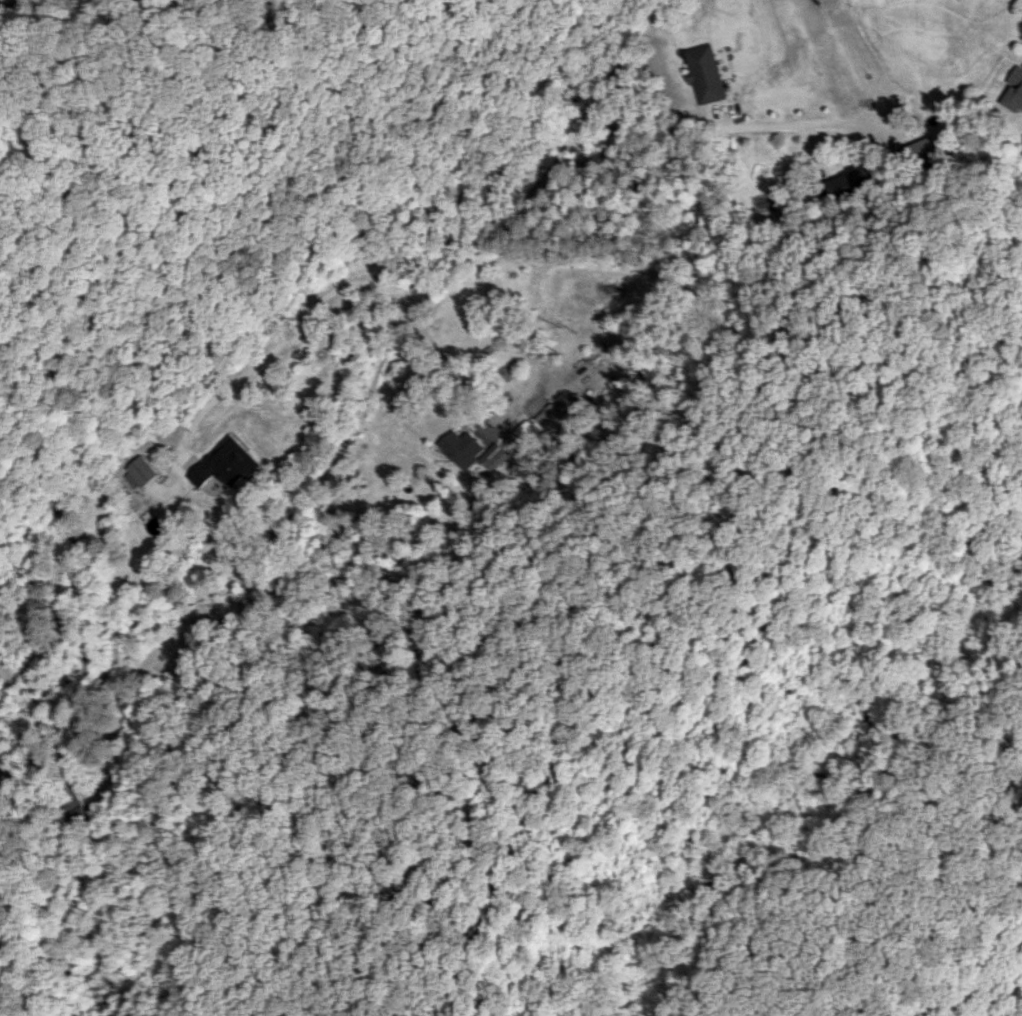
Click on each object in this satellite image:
building: (702, 73)
building: (1014, 90)
road: (711, 128)
building: (918, 151)
road: (547, 173)
road: (270, 350)
road: (521, 389)
building: (541, 416)
building: (520, 431)
building: (458, 447)
building: (487, 456)
building: (227, 464)
building: (139, 472)
road: (302, 513)

